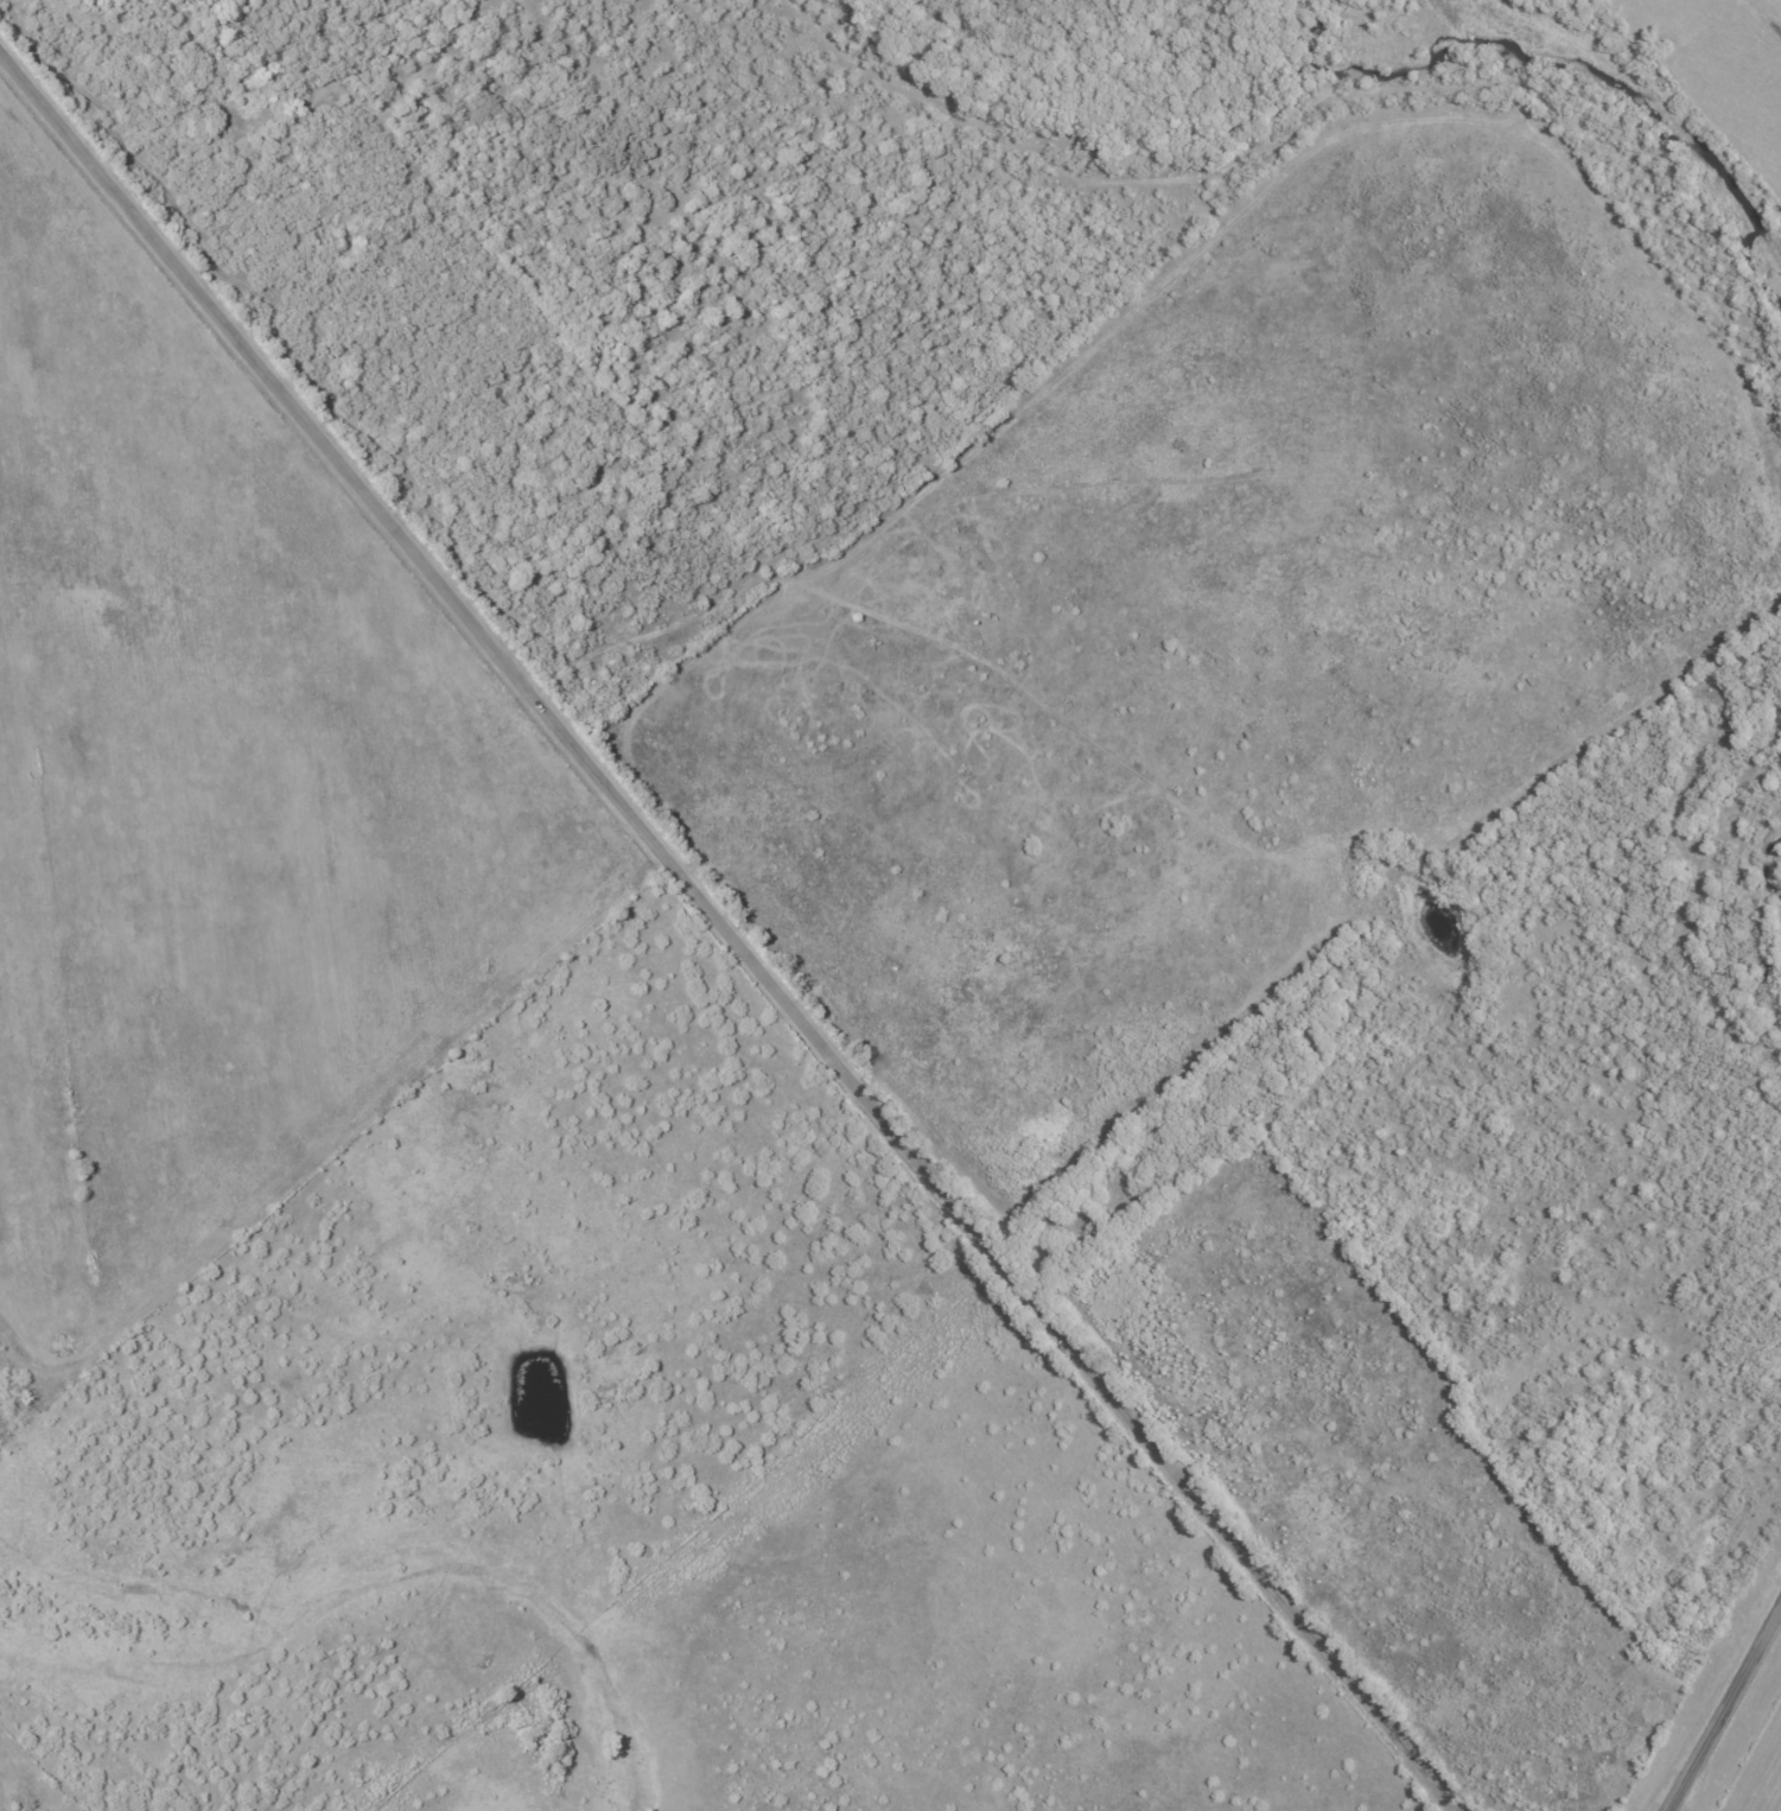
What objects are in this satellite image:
road: (726, 933)
road: (1725, 1712)

